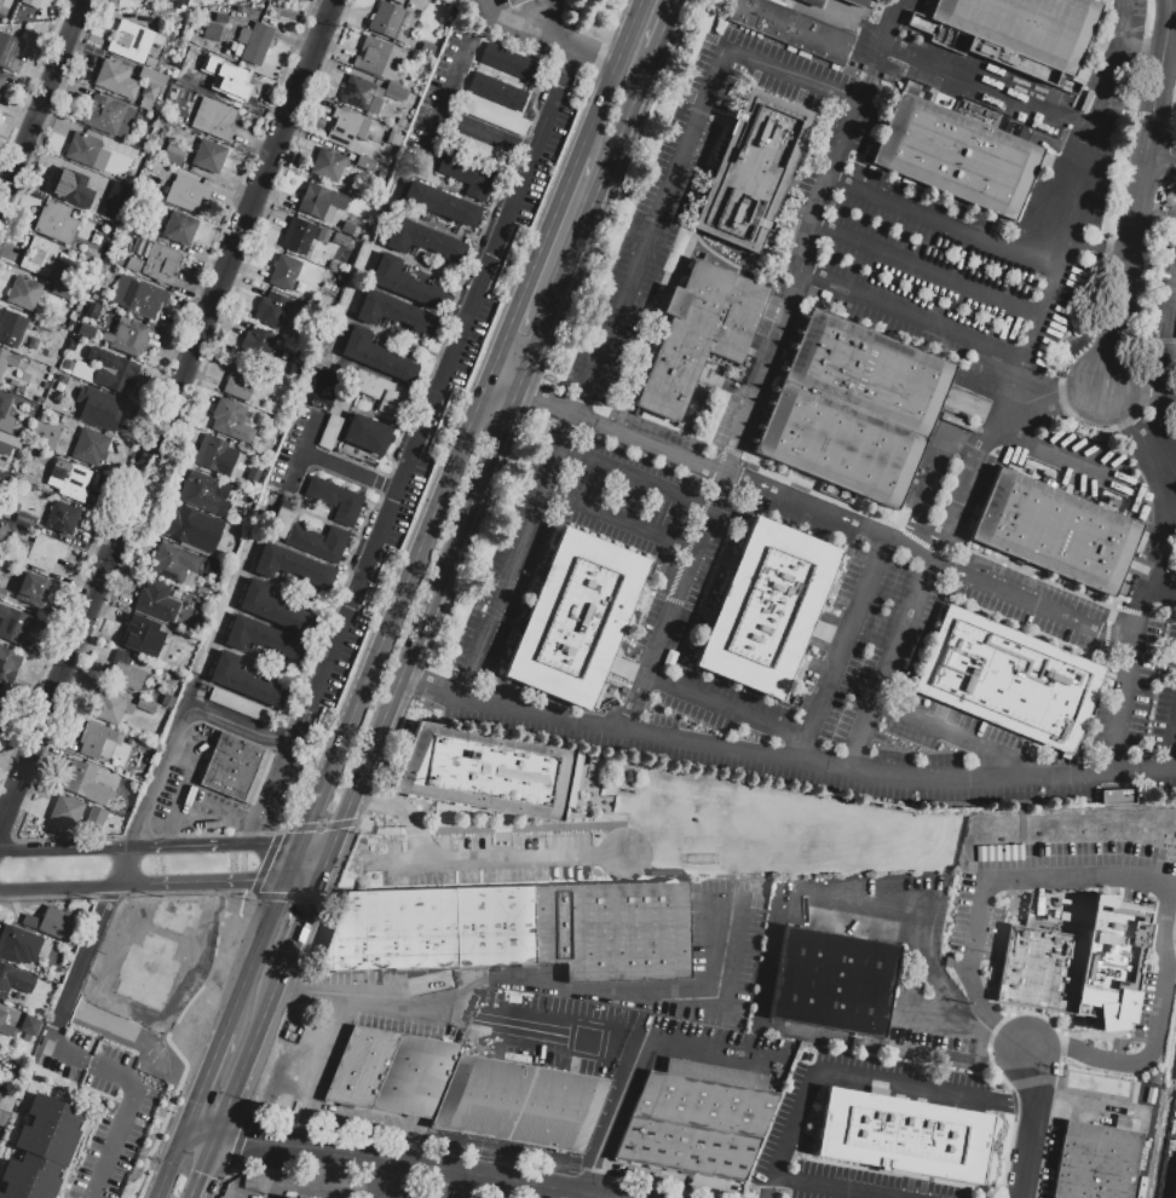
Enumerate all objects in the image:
building: (179, 1)
building: (398, 1)
building: (29, 2)
building: (511, 2)
parking lot: (907, 5)
parking lot: (1136, 7)
building: (220, 18)
gas station: (526, 18)
building: (391, 21)
road: (893, 23)
building: (801, 24)
road: (665, 28)
road: (518, 30)
building: (1011, 30)
building: (209, 34)
building: (126, 39)
road: (565, 39)
building: (253, 42)
road: (572, 46)
building: (426, 47)
building: (7, 50)
road: (1142, 54)
building: (371, 56)
building: (508, 61)
building: (151, 63)
building: (132, 65)
building: (167, 71)
road: (962, 74)
road: (1114, 74)
road: (30, 75)
building: (151, 75)
road: (1158, 76)
road: (611, 77)
building: (1, 79)
building: (87, 79)
building: (114, 79)
building: (219, 80)
building: (149, 90)
building: (497, 91)
building: (394, 92)
road: (535, 92)
building: (362, 94)
road: (442, 102)
building: (145, 103)
road: (1175, 103)
road: (41, 105)
road: (1172, 109)
road: (1119, 110)
building: (106, 115)
building: (491, 115)
road: (1152, 116)
road: (47, 119)
building: (213, 119)
building: (402, 126)
building: (345, 127)
road: (485, 136)
road: (846, 140)
building: (473, 146)
building: (81, 148)
road: (520, 148)
street lamp: (1126, 149)
building: (172, 154)
building: (208, 155)
building: (959, 155)
road: (1161, 155)
building: (365, 163)
building: (328, 165)
parking lot: (546, 166)
building: (755, 171)
building: (467, 173)
building: (70, 189)
building: (185, 192)
building: (110, 198)
building: (319, 202)
building: (440, 202)
road: (820, 203)
building: (54, 221)
road: (588, 223)
parking lot: (973, 226)
building: (179, 227)
road: (942, 227)
building: (348, 229)
building: (296, 235)
building: (323, 235)
building: (340, 240)
building: (422, 240)
parking lot: (641, 248)
road: (807, 249)
road: (1097, 250)
building: (92, 252)
building: (40, 258)
road: (537, 259)
road: (724, 259)
building: (160, 263)
building: (132, 265)
building: (333, 265)
building: (284, 271)
road: (1126, 271)
road: (927, 272)
building: (405, 283)
parking lot: (1163, 283)
building: (82, 289)
building: (60, 290)
road: (1051, 290)
building: (23, 293)
building: (137, 296)
building: (270, 309)
building: (394, 312)
road: (912, 317)
road: (612, 324)
building: (35, 326)
building: (11, 327)
building: (85, 330)
building: (47, 332)
road: (652, 332)
building: (127, 335)
building: (59, 336)
building: (701, 336)
parking lot: (474, 342)
building: (258, 345)
building: (39, 346)
road: (439, 349)
building: (376, 356)
building: (48, 357)
building: (6, 359)
building: (110, 370)
road: (766, 373)
road: (508, 376)
road: (1163, 376)
road: (444, 378)
building: (241, 380)
building: (12, 382)
road: (155, 384)
road: (1128, 393)
building: (393, 394)
road: (1077, 397)
road: (1161, 401)
road: (173, 402)
building: (4, 403)
building: (97, 408)
road: (1117, 408)
building: (855, 409)
building: (229, 417)
road: (181, 419)
street lamp: (1093, 427)
parking lot: (652, 431)
building: (329, 432)
building: (367, 433)
road: (645, 439)
building: (8, 443)
building: (88, 447)
road: (302, 449)
building: (215, 455)
road: (1059, 463)
road: (350, 471)
building: (1, 478)
building: (68, 479)
road: (376, 480)
road: (638, 480)
road: (932, 485)
street lamp: (425, 488)
building: (206, 493)
building: (334, 499)
parking lot: (409, 503)
building: (62, 518)
building: (24, 519)
road: (622, 522)
building: (243, 523)
building: (279, 523)
building: (192, 529)
building: (1060, 535)
building: (1, 536)
parking lot: (646, 540)
building: (317, 541)
building: (40, 552)
road: (917, 554)
road: (950, 557)
road: (347, 559)
road: (461, 561)
building: (174, 564)
road: (929, 564)
building: (292, 565)
building: (213, 568)
street lamp: (370, 577)
building: (31, 589)
building: (1, 593)
road: (1152, 594)
road: (1164, 595)
building: (156, 600)
parking lot: (1031, 603)
road: (397, 604)
building: (766, 609)
building: (273, 610)
parking lot: (668, 614)
road: (427, 616)
building: (575, 618)
road: (669, 622)
building: (15, 626)
road: (1038, 633)
road: (1105, 633)
building: (142, 635)
building: (263, 638)
parking lot: (870, 645)
road: (227, 649)
road: (842, 651)
building: (7, 663)
parking lot: (344, 663)
street lamp: (350, 663)
building: (125, 670)
street lamp: (454, 672)
building: (1009, 680)
building: (244, 681)
road: (411, 682)
parking lot: (1125, 682)
parking lot: (1165, 697)
street lamp: (204, 698)
building: (1, 699)
building: (167, 701)
building: (145, 705)
building: (237, 705)
building: (109, 707)
road: (727, 709)
road: (302, 718)
road: (234, 724)
parking lot: (550, 732)
parking lot: (964, 735)
building: (96, 739)
road: (962, 739)
street lamp: (307, 741)
road: (177, 750)
road: (1174, 754)
road: (815, 768)
building: (232, 770)
building: (489, 773)
parking lot: (282, 776)
building: (82, 782)
building: (1116, 796)
building: (65, 811)
road: (403, 813)
road: (5, 814)
building: (94, 817)
road: (208, 822)
road: (321, 824)
traffic signals: (309, 825)
road: (488, 828)
road: (265, 831)
street lamp: (356, 833)
road: (254, 834)
road: (169, 835)
street lamp: (119, 836)
road: (131, 836)
road: (67, 837)
road: (5, 840)
road: (318, 845)
road: (283, 846)
road: (197, 848)
road: (64, 852)
road: (484, 858)
parking lot: (508, 858)
road: (125, 863)
road: (263, 863)
road: (327, 863)
road: (294, 864)
road: (1056, 876)
parking lot: (1050, 881)
road: (302, 882)
traffic signals: (255, 885)
road: (201, 886)
road: (57, 891)
road: (185, 892)
road: (108, 895)
road: (47, 897)
road: (288, 897)
traffic signals: (313, 898)
street lamp: (248, 900)
parking lot: (872, 908)
road: (1137, 908)
road: (777, 909)
building: (50, 922)
road: (301, 923)
building: (519, 931)
road: (1145, 935)
building: (19, 945)
parking lot: (716, 952)
road: (255, 956)
building: (1073, 956)
building: (13, 979)
building: (832, 981)
road: (531, 986)
road: (1159, 1001)
parking lot: (387, 1003)
parking lot: (923, 1019)
road: (1130, 1023)
building: (6, 1025)
building: (28, 1026)
road: (961, 1030)
parking lot: (552, 1031)
parking lot: (726, 1035)
road: (647, 1039)
road: (571, 1042)
road: (169, 1043)
road: (252, 1048)
road: (1040, 1050)
road: (987, 1058)
road: (311, 1069)
building: (390, 1071)
building: (13, 1072)
road: (207, 1078)
road: (125, 1083)
road: (928, 1083)
parking lot: (117, 1093)
street lamp: (253, 1101)
traffic signals: (197, 1102)
building: (519, 1102)
building: (5, 1105)
building: (668, 1113)
parking lot: (1174, 1121)
parking lot: (370, 1122)
building: (732, 1124)
road: (1031, 1124)
road: (203, 1130)
road: (229, 1134)
building: (903, 1135)
road: (237, 1136)
traffic signals: (244, 1137)
parking lot: (779, 1139)
road: (264, 1141)
building: (41, 1147)
parking lot: (502, 1151)
road: (212, 1153)
parking lot: (1048, 1157)
street lamp: (152, 1158)
road: (173, 1162)
building: (1095, 1162)
road: (247, 1167)
road: (439, 1171)
road: (773, 1173)
traffic signals: (206, 1174)
parking lot: (335, 1176)
road: (590, 1177)
street lamp: (220, 1179)
parking lot: (861, 1183)
road: (292, 1185)
road: (767, 1185)
road: (201, 1186)
road: (369, 1187)
road: (472, 1187)
road: (271, 1190)
parking lot: (422, 1190)
building: (1175, 1192)
road: (368, 1196)
parking lot: (494, 1196)
building: (284, 1197)
road: (576, 1197)

